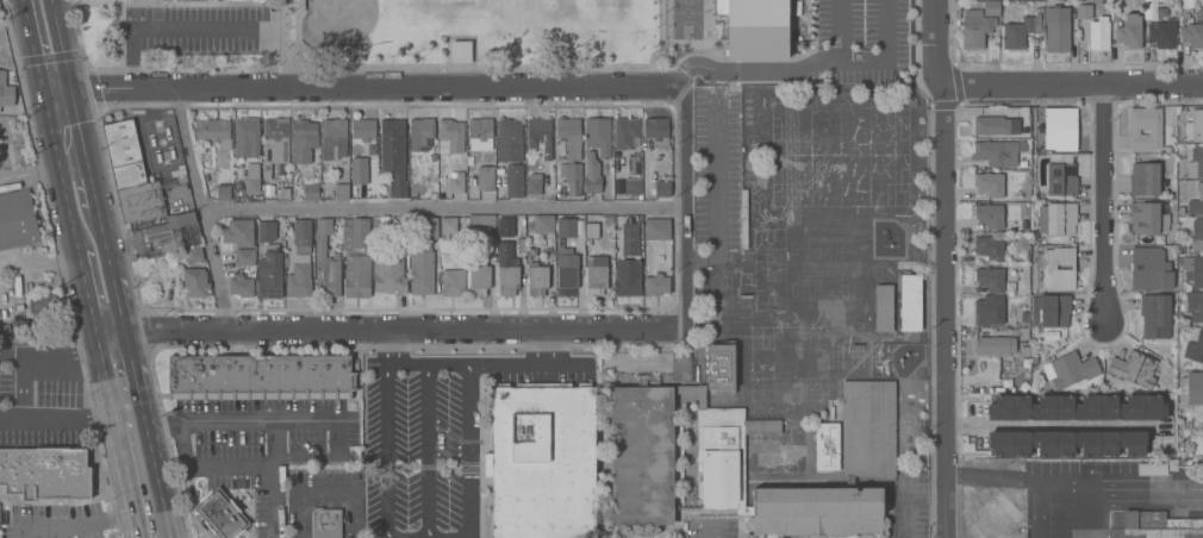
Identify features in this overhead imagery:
building: (1060, 1)
building: (991, 8)
building: (1201, 11)
building: (1084, 12)
building: (1178, 13)
building: (1186, 15)
building: (756, 27)
road: (199, 29)
building: (976, 29)
building: (1058, 30)
road: (840, 31)
building: (1021, 31)
building: (1129, 31)
parking lot: (199, 32)
road: (885, 32)
building: (1098, 33)
building: (1160, 35)
building: (1192, 35)
park: (516, 39)
road: (32, 44)
building: (348, 49)
building: (461, 51)
road: (798, 73)
road: (363, 88)
road: (1074, 89)
building: (6, 90)
building: (991, 126)
building: (1193, 126)
building: (19, 129)
building: (1060, 129)
building: (1145, 129)
building: (363, 130)
building: (479, 131)
building: (656, 131)
building: (214, 132)
building: (420, 132)
building: (627, 133)
building: (540, 134)
building: (598, 134)
building: (450, 136)
building: (247, 137)
building: (571, 137)
building: (334, 138)
road: (80, 139)
building: (304, 140)
building: (509, 140)
building: (274, 148)
building: (373, 148)
building: (123, 154)
building: (394, 154)
building: (996, 154)
building: (616, 157)
building: (1197, 159)
building: (610, 165)
building: (634, 165)
road: (58, 170)
building: (325, 170)
building: (359, 170)
building: (177, 173)
building: (1060, 176)
building: (251, 177)
building: (534, 177)
building: (597, 177)
building: (151, 179)
building: (411, 179)
building: (486, 179)
building: (572, 179)
building: (1146, 179)
building: (182, 181)
building: (515, 181)
building: (456, 182)
building: (223, 183)
building: (989, 184)
building: (632, 186)
building: (411, 188)
building: (661, 188)
road: (713, 189)
building: (311, 192)
building: (342, 192)
building: (276, 193)
building: (1020, 194)
building: (432, 195)
road: (81, 199)
building: (1196, 201)
building: (141, 202)
road: (1102, 206)
road: (200, 207)
road: (443, 208)
road: (686, 208)
building: (1023, 213)
building: (989, 215)
building: (1147, 218)
building: (609, 219)
building: (1058, 219)
building: (17, 220)
building: (481, 220)
building: (505, 221)
building: (555, 225)
building: (1023, 226)
building: (591, 230)
building: (657, 230)
building: (266, 231)
building: (450, 231)
building: (360, 232)
building: (238, 233)
building: (162, 234)
building: (1197, 234)
building: (519, 239)
building: (606, 239)
building: (630, 240)
building: (491, 244)
building: (990, 248)
building: (193, 255)
building: (245, 257)
building: (300, 261)
building: (424, 261)
building: (326, 263)
road: (39, 268)
road: (946, 268)
building: (1192, 268)
building: (507, 269)
building: (1058, 269)
building: (1151, 269)
building: (566, 270)
building: (269, 274)
building: (357, 274)
building: (596, 276)
building: (388, 277)
building: (478, 277)
building: (537, 279)
building: (628, 279)
building: (990, 279)
building: (195, 282)
building: (453, 283)
building: (656, 284)
building: (170, 286)
building: (241, 286)
building: (1026, 292)
road: (88, 302)
building: (910, 302)
road: (118, 305)
building: (44, 306)
building: (1195, 306)
building: (884, 308)
building: (1052, 309)
building: (989, 312)
building: (1155, 317)
building: (1023, 318)
road: (388, 327)
building: (1021, 333)
road: (385, 345)
building: (996, 345)
building: (1195, 348)
building: (1024, 351)
road: (50, 354)
building: (1035, 359)
road: (131, 362)
road: (425, 363)
road: (524, 363)
building: (1026, 363)
building: (721, 367)
building: (1133, 369)
building: (1070, 370)
building: (186, 379)
building: (212, 379)
building: (226, 379)
building: (241, 379)
building: (255, 379)
building: (270, 379)
building: (285, 379)
building: (299, 379)
building: (313, 379)
building: (329, 379)
building: (344, 379)
building: (1006, 383)
road: (23, 388)
road: (108, 388)
building: (1195, 388)
building: (1077, 408)
road: (467, 413)
road: (57, 423)
road: (258, 423)
road: (164, 426)
building: (867, 427)
building: (1202, 427)
road: (1055, 428)
road: (337, 439)
building: (1066, 443)
building: (827, 446)
road: (385, 450)
road: (428, 450)
building: (721, 452)
building: (642, 456)
road: (306, 458)
building: (542, 461)
road: (156, 464)
road: (211, 465)
building: (1151, 469)
building: (1054, 471)
building: (45, 475)
road: (1016, 477)
road: (274, 480)
road: (129, 481)
road: (1084, 492)
road: (323, 495)
road: (465, 501)
building: (220, 514)
building: (325, 523)
building: (1155, 526)
road: (80, 528)
road: (20, 534)

